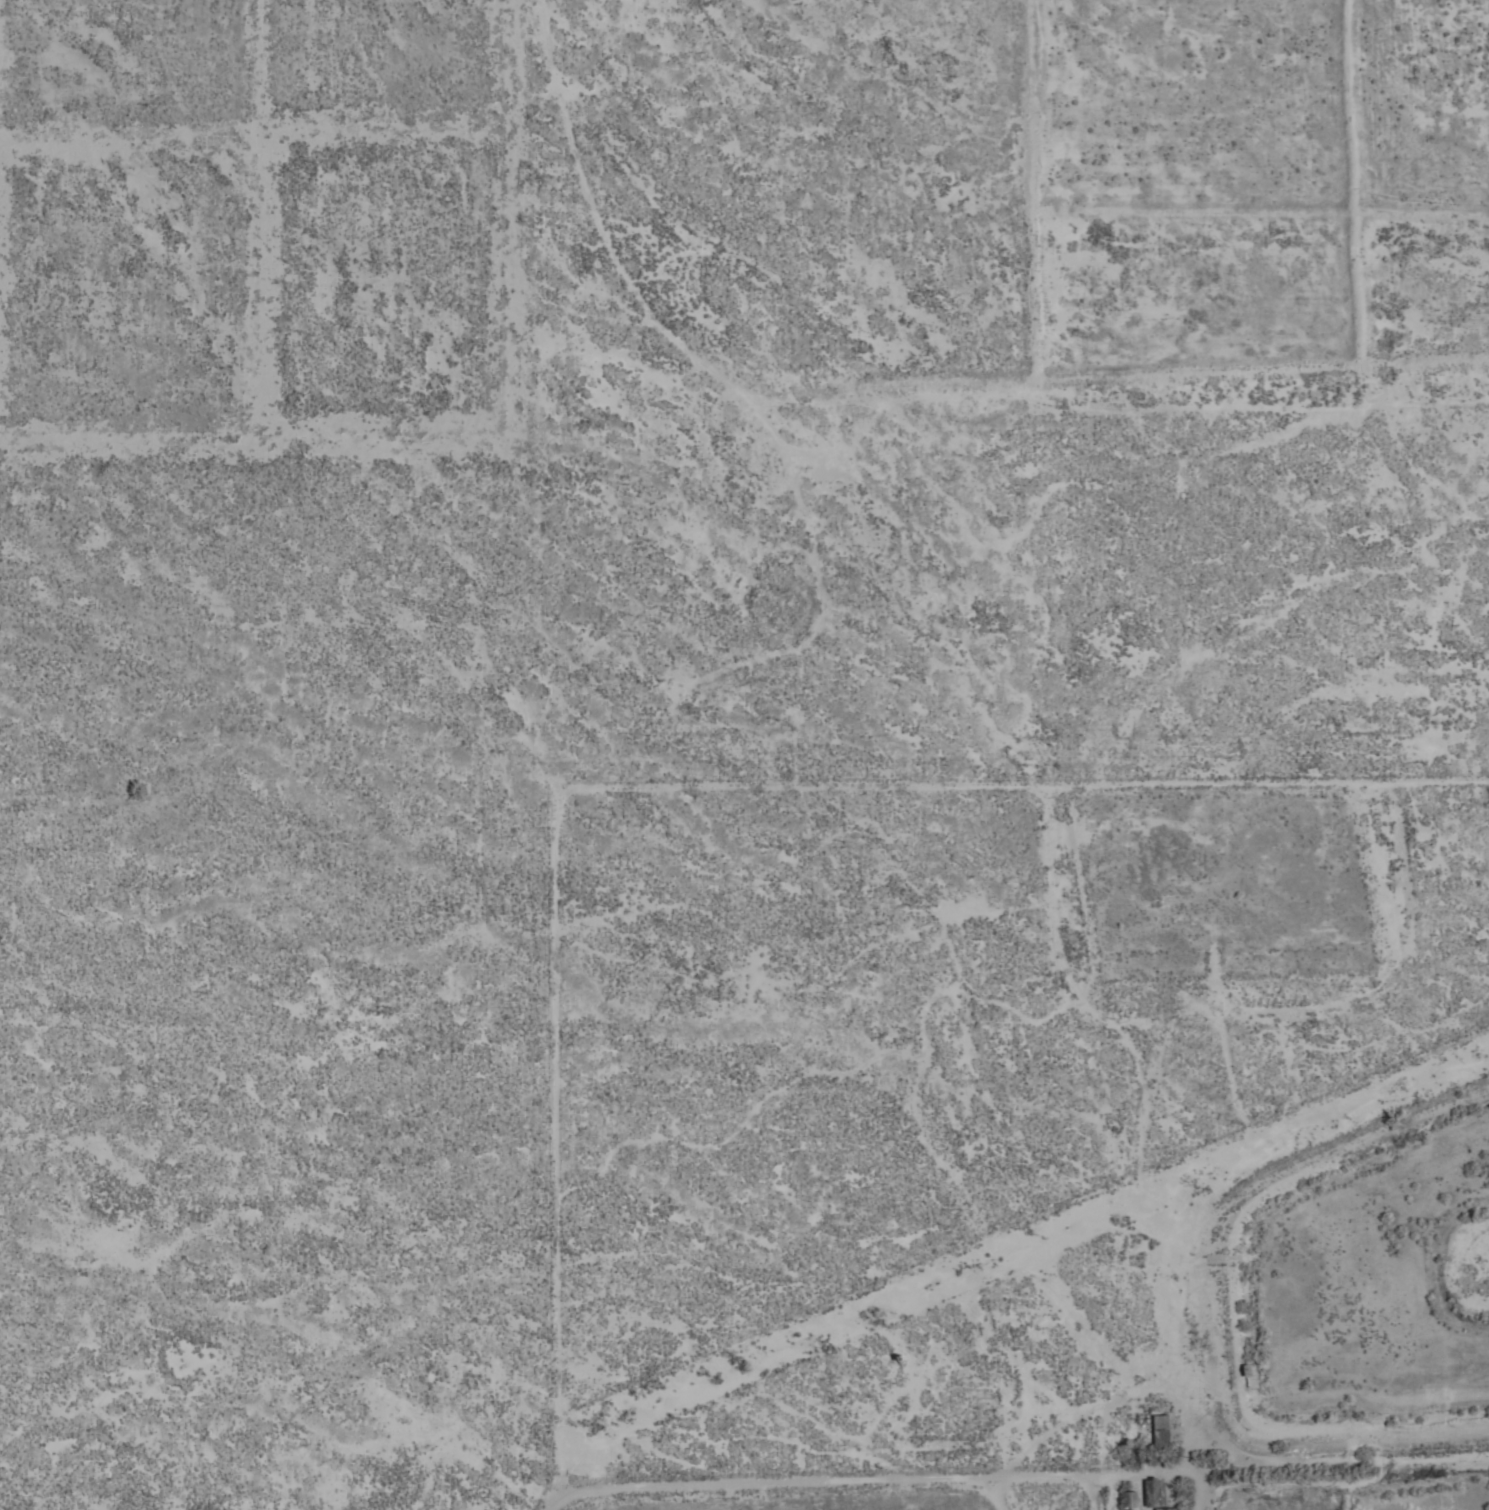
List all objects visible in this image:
building: (1162, 1430)
road: (859, 1481)
building: (1153, 1492)
building: (1131, 1498)
building: (1169, 1508)

